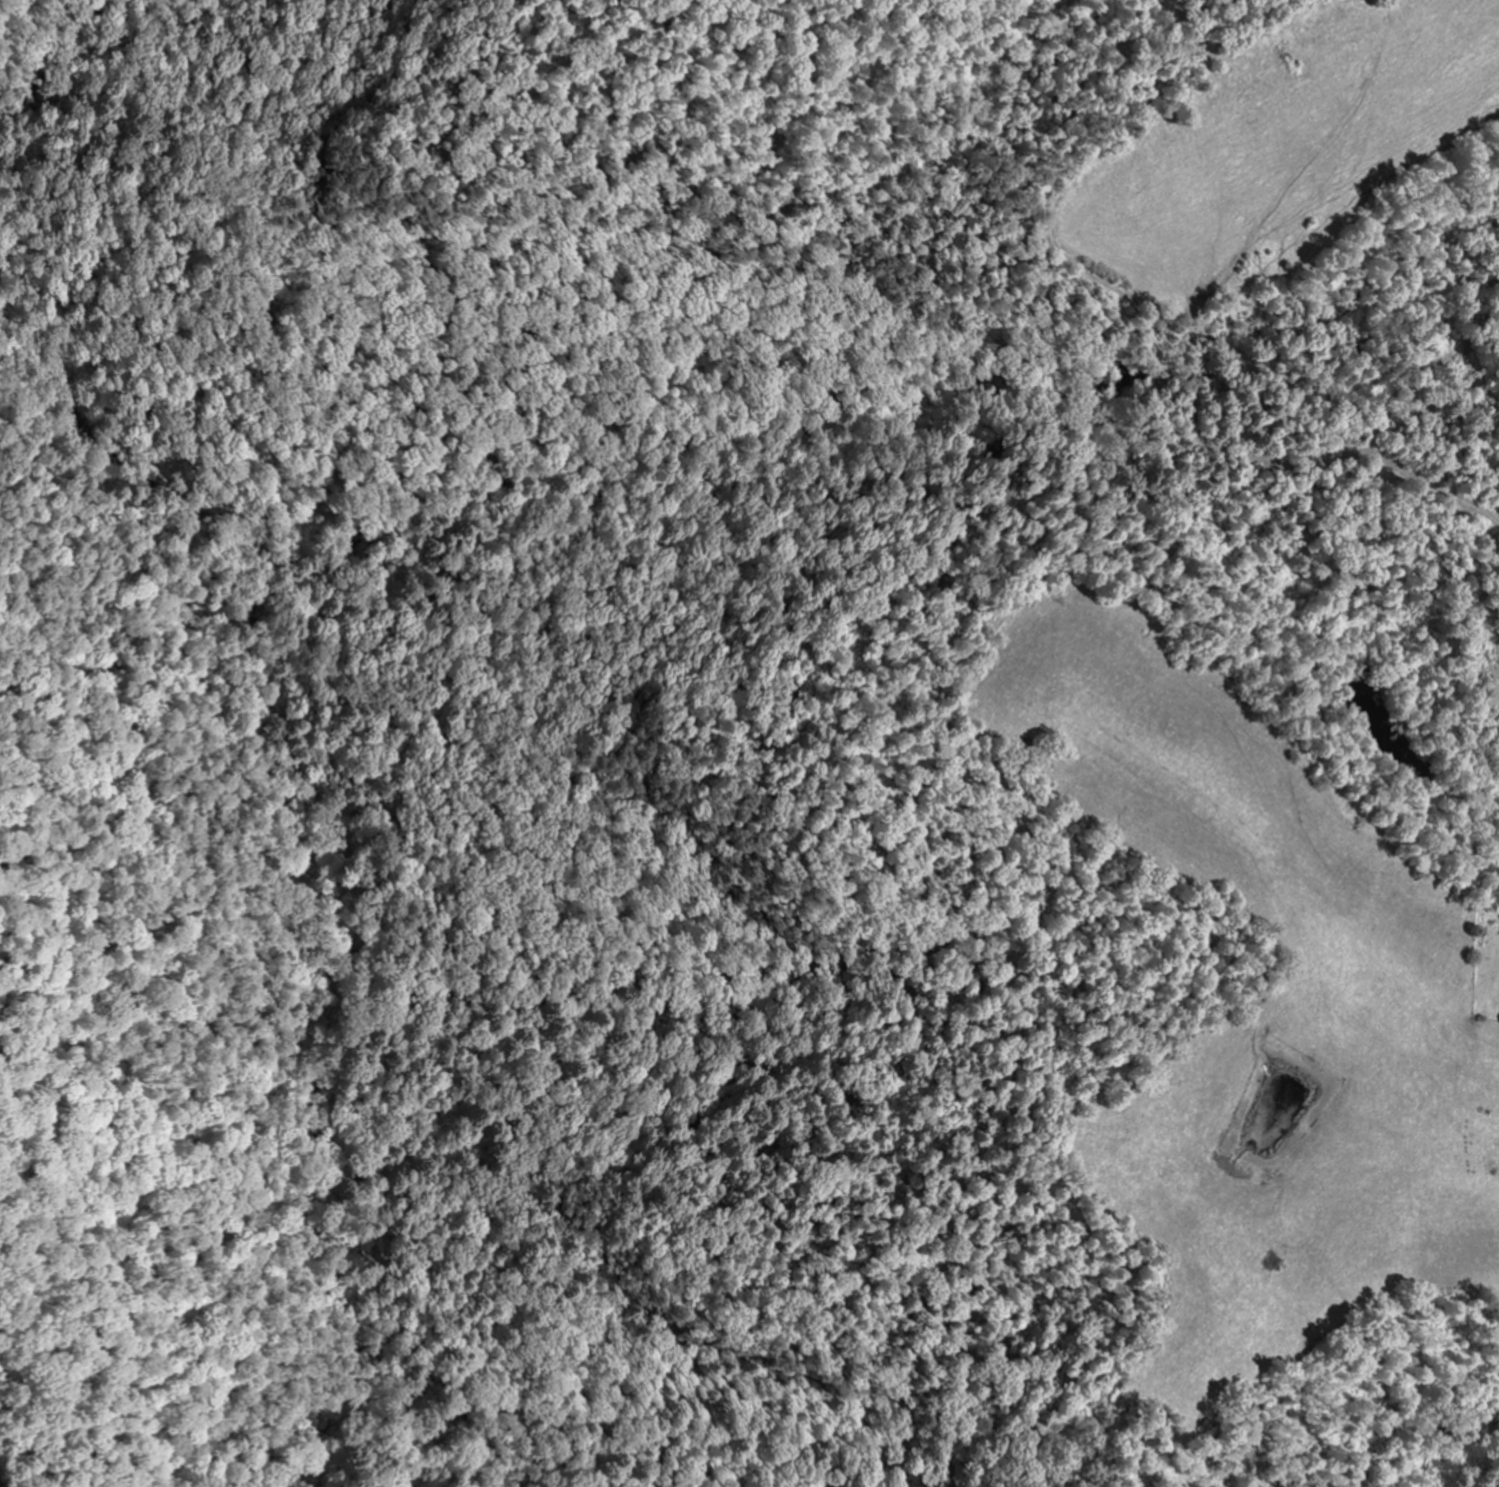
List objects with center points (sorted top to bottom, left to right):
road: (25, 1410)

